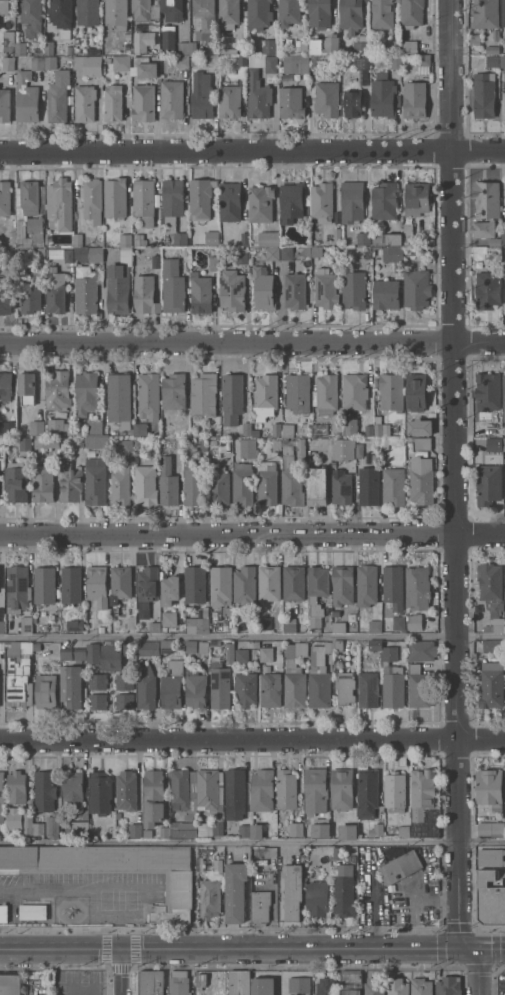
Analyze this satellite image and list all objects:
building: (4, 7)
building: (173, 9)
building: (145, 10)
building: (88, 12)
building: (289, 12)
building: (61, 13)
building: (117, 13)
building: (320, 13)
building: (412, 13)
building: (503, 13)
building: (259, 14)
building: (352, 14)
building: (382, 14)
building: (486, 14)
building: (31, 16)
building: (228, 16)
building: (205, 18)
building: (65, 34)
building: (496, 34)
building: (9, 36)
building: (168, 37)
building: (228, 41)
building: (140, 42)
building: (241, 45)
building: (304, 45)
building: (326, 45)
building: (361, 45)
building: (269, 46)
building: (396, 47)
building: (410, 47)
building: (20, 48)
building: (50, 48)
building: (184, 48)
building: (193, 48)
building: (69, 50)
building: (78, 50)
building: (492, 50)
building: (231, 51)
building: (212, 60)
building: (243, 60)
building: (183, 61)
building: (315, 61)
building: (493, 61)
building: (503, 61)
building: (51, 62)
building: (396, 62)
building: (10, 63)
building: (37, 63)
building: (121, 63)
building: (269, 63)
building: (295, 63)
building: (423, 63)
building: (89, 65)
building: (145, 67)
building: (362, 68)
building: (484, 94)
building: (202, 95)
building: (259, 96)
building: (383, 96)
building: (58, 97)
building: (27, 98)
building: (172, 99)
building: (327, 99)
building: (415, 99)
building: (230, 101)
building: (144, 102)
building: (291, 102)
building: (85, 103)
building: (114, 103)
building: (353, 103)
building: (5, 105)
road: (252, 151)
building: (116, 197)
building: (5, 198)
building: (173, 198)
building: (201, 198)
building: (417, 198)
building: (487, 199)
building: (92, 200)
building: (322, 201)
building: (385, 201)
building: (144, 202)
building: (230, 202)
building: (352, 202)
building: (61, 203)
building: (261, 204)
building: (294, 204)
building: (27, 214)
building: (483, 229)
building: (337, 236)
building: (409, 236)
building: (269, 238)
building: (363, 238)
building: (181, 239)
building: (207, 239)
building: (245, 239)
building: (387, 239)
building: (79, 240)
building: (126, 240)
building: (503, 240)
building: (140, 242)
building: (495, 242)
building: (411, 250)
building: (317, 251)
building: (48, 252)
building: (367, 252)
building: (374, 252)
building: (479, 252)
building: (64, 253)
building: (272, 253)
building: (287, 253)
building: (89, 254)
building: (33, 255)
building: (394, 256)
building: (242, 257)
building: (327, 260)
building: (155, 261)
building: (214, 263)
building: (120, 283)
building: (263, 284)
building: (173, 286)
building: (326, 288)
building: (417, 289)
building: (56, 290)
building: (86, 290)
building: (232, 290)
building: (295, 290)
building: (354, 290)
building: (488, 290)
building: (201, 293)
building: (386, 294)
building: (145, 295)
building: (5, 296)
building: (30, 297)
road: (252, 342)
building: (6, 386)
building: (26, 387)
building: (59, 390)
building: (174, 391)
building: (355, 391)
building: (417, 391)
building: (392, 392)
building: (87, 393)
building: (298, 393)
building: (488, 393)
building: (326, 394)
building: (119, 396)
building: (149, 396)
building: (265, 396)
building: (504, 397)
building: (233, 398)
building: (206, 401)
building: (61, 426)
building: (36, 427)
building: (95, 427)
building: (351, 427)
building: (420, 427)
building: (8, 428)
building: (247, 428)
building: (380, 428)
building: (140, 429)
building: (320, 429)
building: (395, 429)
building: (267, 430)
building: (288, 430)
building: (369, 430)
building: (97, 441)
building: (285, 441)
building: (47, 442)
building: (391, 442)
building: (25, 443)
building: (422, 443)
building: (138, 444)
building: (204, 444)
building: (504, 444)
building: (126, 445)
building: (277, 445)
building: (248, 448)
building: (344, 449)
building: (300, 450)
building: (360, 451)
building: (288, 457)
road: (453, 474)
building: (422, 480)
building: (96, 481)
building: (71, 482)
building: (168, 482)
building: (370, 482)
building: (193, 483)
building: (243, 483)
building: (16, 484)
building: (43, 484)
building: (489, 484)
building: (121, 485)
building: (146, 485)
building: (219, 485)
building: (268, 486)
building: (318, 486)
building: (394, 486)
building: (341, 487)
building: (293, 488)
road: (252, 532)
building: (270, 582)
building: (121, 583)
building: (294, 583)
building: (196, 584)
building: (246, 584)
building: (343, 584)
building: (44, 585)
building: (71, 585)
building: (98, 586)
building: (221, 586)
building: (367, 586)
building: (393, 586)
building: (418, 588)
building: (492, 588)
building: (18, 589)
building: (147, 590)
building: (170, 590)
building: (317, 592)
building: (205, 612)
building: (169, 619)
building: (131, 622)
building: (415, 622)
building: (265, 623)
building: (399, 623)
building: (290, 624)
building: (27, 625)
building: (75, 625)
building: (198, 625)
building: (375, 626)
building: (2, 627)
building: (155, 627)
building: (44, 628)
building: (55, 628)
building: (68, 628)
building: (499, 628)
building: (120, 629)
road: (252, 636)
building: (8, 644)
building: (375, 645)
building: (2, 646)
building: (338, 646)
building: (493, 646)
building: (26, 647)
building: (167, 647)
building: (191, 647)
building: (204, 647)
building: (149, 649)
building: (129, 650)
building: (422, 651)
building: (94, 653)
building: (229, 653)
building: (66, 654)
building: (266, 654)
building: (80, 655)
building: (242, 655)
building: (106, 657)
building: (116, 657)
building: (295, 675)
building: (320, 677)
building: (18, 679)
building: (392, 679)
building: (98, 681)
building: (124, 681)
building: (220, 684)
building: (173, 685)
building: (492, 685)
building: (75, 687)
building: (146, 687)
building: (196, 688)
building: (247, 688)
building: (420, 688)
building: (345, 689)
building: (369, 689)
building: (271, 690)
building: (46, 691)
building: (98, 701)
building: (124, 701)
road: (252, 739)
building: (16, 788)
building: (490, 788)
building: (184, 789)
building: (287, 789)
building: (342, 789)
building: (126, 790)
building: (210, 790)
building: (262, 790)
building: (315, 790)
building: (44, 791)
building: (73, 791)
building: (368, 792)
building: (395, 792)
building: (422, 792)
building: (100, 793)
building: (235, 794)
building: (1, 797)
building: (154, 797)
building: (118, 815)
building: (14, 819)
building: (28, 822)
building: (52, 826)
building: (215, 828)
building: (320, 828)
building: (491, 828)
building: (39, 829)
building: (80, 829)
building: (136, 829)
building: (244, 829)
building: (296, 829)
building: (391, 829)
building: (184, 830)
building: (257, 831)
building: (348, 831)
building: (377, 831)
building: (404, 831)
building: (164, 832)
road: (252, 842)
building: (337, 853)
building: (491, 857)
building: (218, 863)
building: (399, 867)
building: (113, 868)
road: (85, 889)
building: (293, 891)
building: (344, 891)
building: (236, 892)
building: (491, 897)
building: (210, 898)
building: (317, 898)
road: (414, 902)
building: (260, 905)
building: (33, 911)
building: (4, 912)
road: (252, 947)
traffic signals: (122, 948)
traffic signals: (460, 948)
traffic signals: (477, 948)
road: (122, 971)
road: (477, 971)
building: (201, 980)
building: (240, 982)
building: (152, 983)
building: (179, 983)
building: (351, 983)
building: (10, 984)
building: (299, 985)
building: (449, 985)
building: (263, 986)
building: (374, 986)
building: (327, 987)
building: (398, 987)
building: (422, 987)
building: (504, 994)

